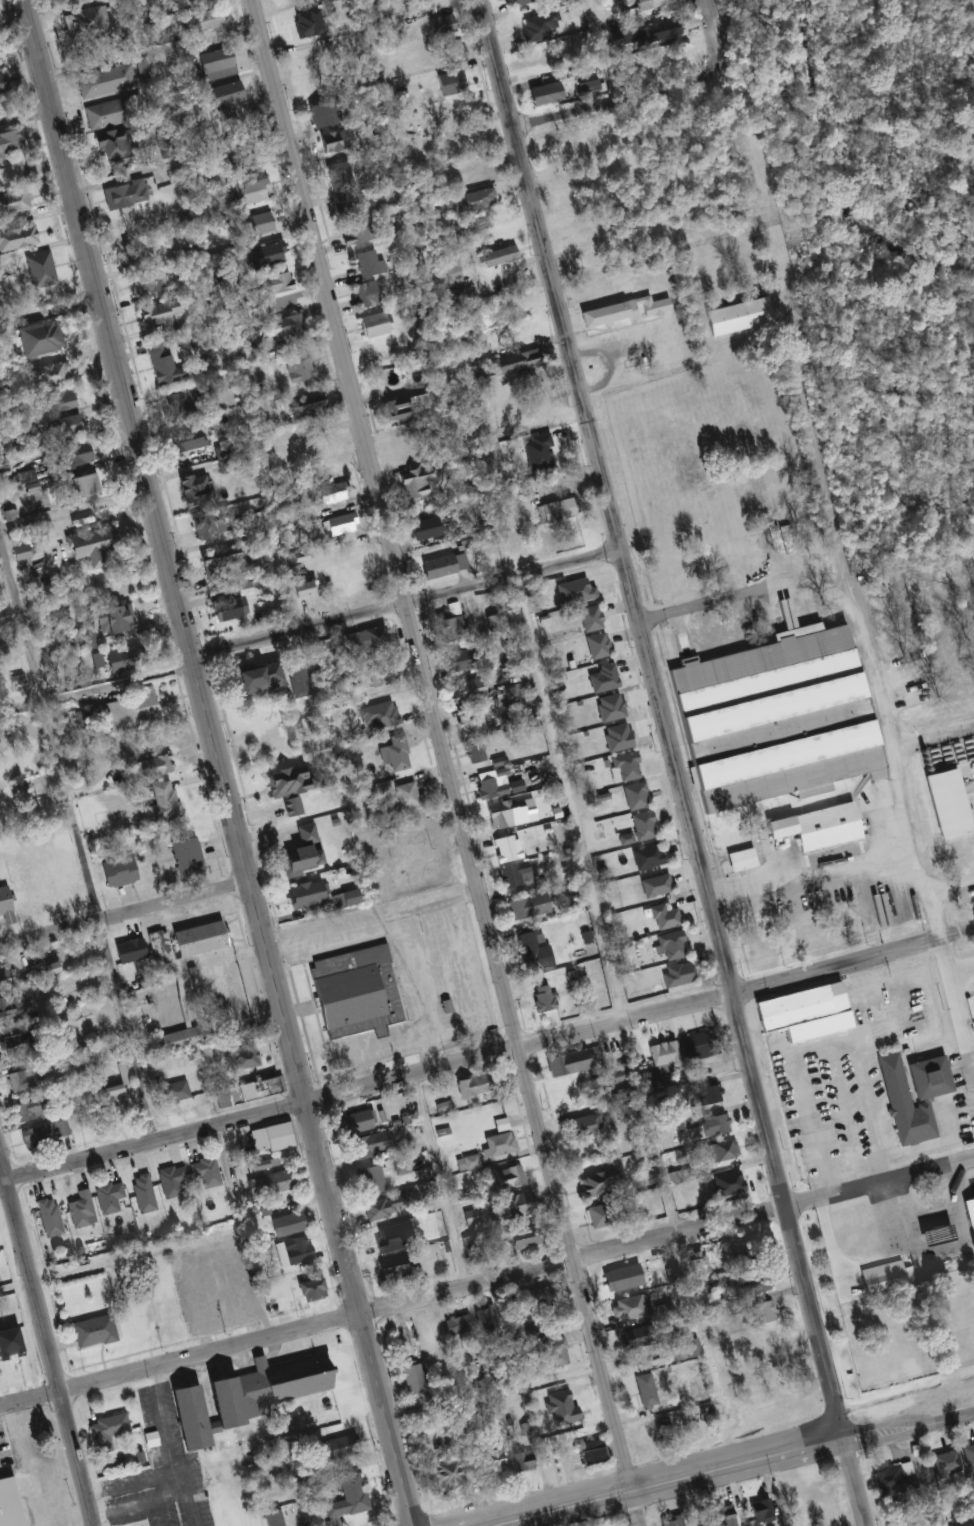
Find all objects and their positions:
building: (649, 1)
building: (513, 2)
building: (204, 20)
building: (81, 23)
building: (439, 25)
building: (658, 31)
road: (716, 37)
road: (150, 50)
road: (603, 51)
building: (449, 54)
building: (214, 64)
building: (103, 80)
building: (448, 83)
building: (2, 84)
building: (541, 94)
building: (223, 99)
road: (618, 102)
road: (24, 113)
building: (318, 114)
building: (10, 141)
building: (326, 141)
building: (108, 146)
building: (559, 149)
road: (179, 161)
building: (244, 161)
building: (335, 174)
building: (244, 193)
building: (122, 194)
building: (475, 199)
building: (13, 201)
building: (254, 223)
building: (352, 233)
building: (16, 237)
building: (134, 250)
building: (263, 255)
building: (493, 257)
building: (365, 263)
building: (39, 270)
building: (151, 281)
building: (274, 284)
building: (457, 293)
building: (363, 294)
building: (623, 311)
building: (159, 312)
building: (735, 316)
road: (50, 321)
building: (371, 325)
building: (286, 326)
building: (522, 331)
building: (37, 338)
building: (514, 362)
building: (159, 364)
building: (297, 369)
building: (47, 375)
building: (59, 400)
building: (176, 406)
building: (404, 406)
building: (307, 407)
building: (534, 409)
building: (64, 426)
building: (191, 436)
building: (400, 447)
building: (71, 455)
building: (21, 476)
building: (417, 482)
building: (80, 487)
building: (193, 487)
building: (329, 494)
building: (554, 510)
road: (75, 519)
building: (337, 525)
building: (206, 527)
building: (421, 529)
building: (91, 543)
building: (512, 547)
building: (19, 558)
building: (441, 566)
building: (302, 589)
road: (403, 601)
building: (225, 609)
building: (3, 617)
building: (587, 618)
building: (111, 620)
building: (491, 621)
building: (447, 624)
building: (366, 639)
building: (88, 640)
building: (595, 646)
building: (116, 660)
building: (454, 661)
road: (866, 663)
building: (380, 674)
building: (253, 677)
building: (297, 680)
building: (465, 689)
road: (97, 699)
building: (380, 710)
building: (129, 711)
road: (659, 718)
building: (769, 718)
building: (468, 723)
building: (474, 752)
building: (394, 753)
road: (217, 762)
road: (449, 762)
building: (152, 766)
building: (285, 780)
building: (489, 784)
building: (404, 794)
building: (633, 796)
road: (568, 798)
building: (160, 802)
building: (503, 812)
building: (944, 818)
building: (812, 827)
building: (638, 828)
road: (79, 833)
building: (504, 847)
building: (184, 854)
building: (644, 857)
building: (296, 860)
building: (738, 860)
road: (814, 862)
building: (116, 871)
building: (513, 875)
building: (653, 886)
building: (302, 894)
building: (346, 897)
building: (525, 906)
building: (3, 908)
road: (124, 915)
building: (661, 917)
road: (374, 921)
building: (837, 932)
building: (196, 938)
building: (669, 946)
building: (530, 948)
building: (763, 948)
building: (46, 968)
building: (674, 975)
building: (352, 992)
road: (413, 993)
building: (540, 998)
building: (5, 1005)
road: (956, 1006)
building: (802, 1011)
road: (639, 1017)
building: (8, 1034)
building: (174, 1040)
building: (694, 1046)
road: (375, 1053)
building: (661, 1053)
building: (240, 1057)
building: (566, 1062)
building: (619, 1075)
building: (22, 1078)
building: (652, 1080)
building: (471, 1085)
building: (245, 1090)
building: (173, 1091)
building: (708, 1094)
building: (910, 1094)
building: (113, 1098)
building: (30, 1109)
building: (356, 1121)
building: (583, 1125)
building: (708, 1125)
building: (32, 1137)
building: (270, 1137)
road: (152, 1143)
building: (367, 1145)
building: (719, 1151)
building: (261, 1164)
building: (204, 1172)
building: (508, 1176)
building: (673, 1176)
building: (169, 1180)
building: (368, 1180)
road: (441, 1181)
building: (264, 1184)
building: (589, 1186)
building: (141, 1193)
building: (106, 1196)
building: (513, 1205)
building: (382, 1207)
building: (78, 1209)
building: (595, 1215)
building: (968, 1215)
building: (47, 1217)
building: (285, 1222)
road: (666, 1236)
building: (388, 1238)
building: (515, 1239)
building: (729, 1250)
building: (296, 1251)
building: (695, 1266)
building: (389, 1269)
building: (884, 1276)
building: (618, 1278)
building: (758, 1283)
building: (702, 1284)
building: (309, 1289)
building: (544, 1297)
building: (625, 1308)
building: (761, 1311)
building: (485, 1318)
building: (457, 1324)
building: (90, 1331)
building: (426, 1334)
building: (769, 1338)
road: (46, 1344)
building: (679, 1350)
building: (554, 1351)
road: (179, 1360)
building: (412, 1376)
building: (643, 1390)
building: (256, 1393)
building: (784, 1395)
building: (574, 1412)
building: (183, 1417)
road: (907, 1427)
building: (104, 1431)
building: (147, 1439)
building: (338, 1447)
building: (588, 1452)
building: (495, 1460)
building: (521, 1460)
building: (447, 1470)
building: (893, 1478)
road: (661, 1481)
road: (850, 1481)
building: (347, 1496)
building: (803, 1497)
building: (14, 1502)
building: (758, 1510)
building: (722, 1515)
building: (269, 1517)
building: (668, 1521)

